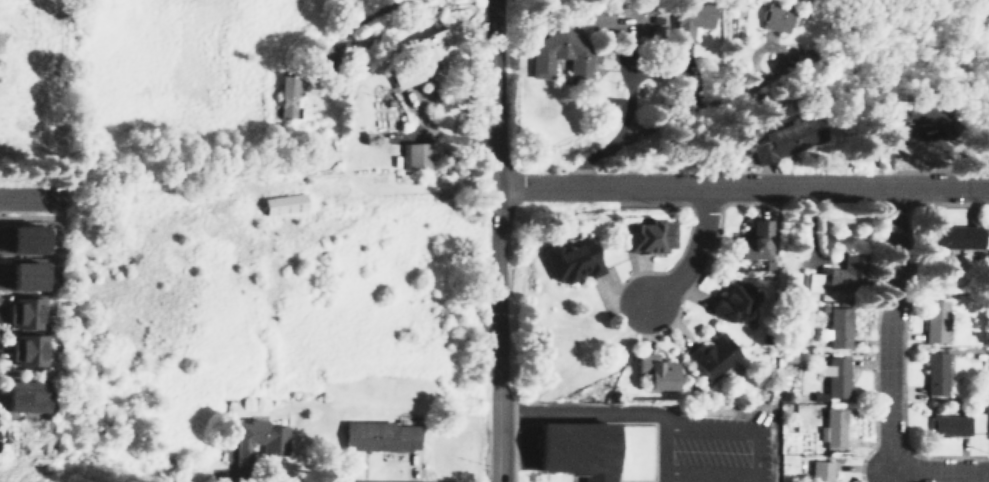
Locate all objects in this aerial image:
building: (770, 15)
building: (686, 16)
building: (556, 54)
building: (416, 57)
building: (288, 97)
building: (915, 114)
building: (986, 133)
building: (780, 138)
building: (416, 156)
road: (743, 186)
road: (29, 197)
building: (283, 204)
building: (641, 236)
building: (24, 237)
building: (953, 238)
road: (499, 240)
building: (748, 240)
road: (692, 254)
building: (565, 260)
building: (833, 270)
building: (24, 273)
building: (726, 299)
building: (26, 312)
building: (932, 321)
road: (887, 329)
building: (834, 332)
building: (29, 348)
building: (708, 355)
building: (652, 371)
building: (932, 373)
building: (833, 377)
building: (26, 395)
road: (588, 412)
road: (634, 422)
building: (947, 426)
building: (830, 428)
road: (734, 433)
building: (378, 435)
building: (258, 438)
building: (574, 448)
road: (514, 453)
road: (660, 457)
road: (390, 463)
road: (936, 471)
building: (812, 472)
road: (545, 476)
road: (710, 477)

